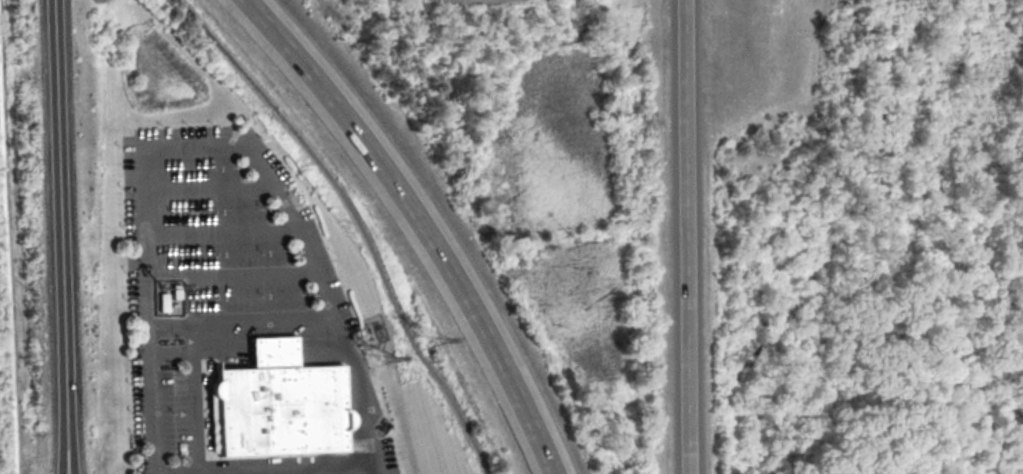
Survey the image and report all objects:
road: (208, 145)
road: (205, 186)
road: (358, 221)
road: (420, 223)
road: (217, 229)
road: (55, 237)
road: (682, 237)
road: (9, 260)
road: (197, 332)
power tower: (427, 336)
power tower: (377, 361)
building: (279, 404)
road: (264, 465)

